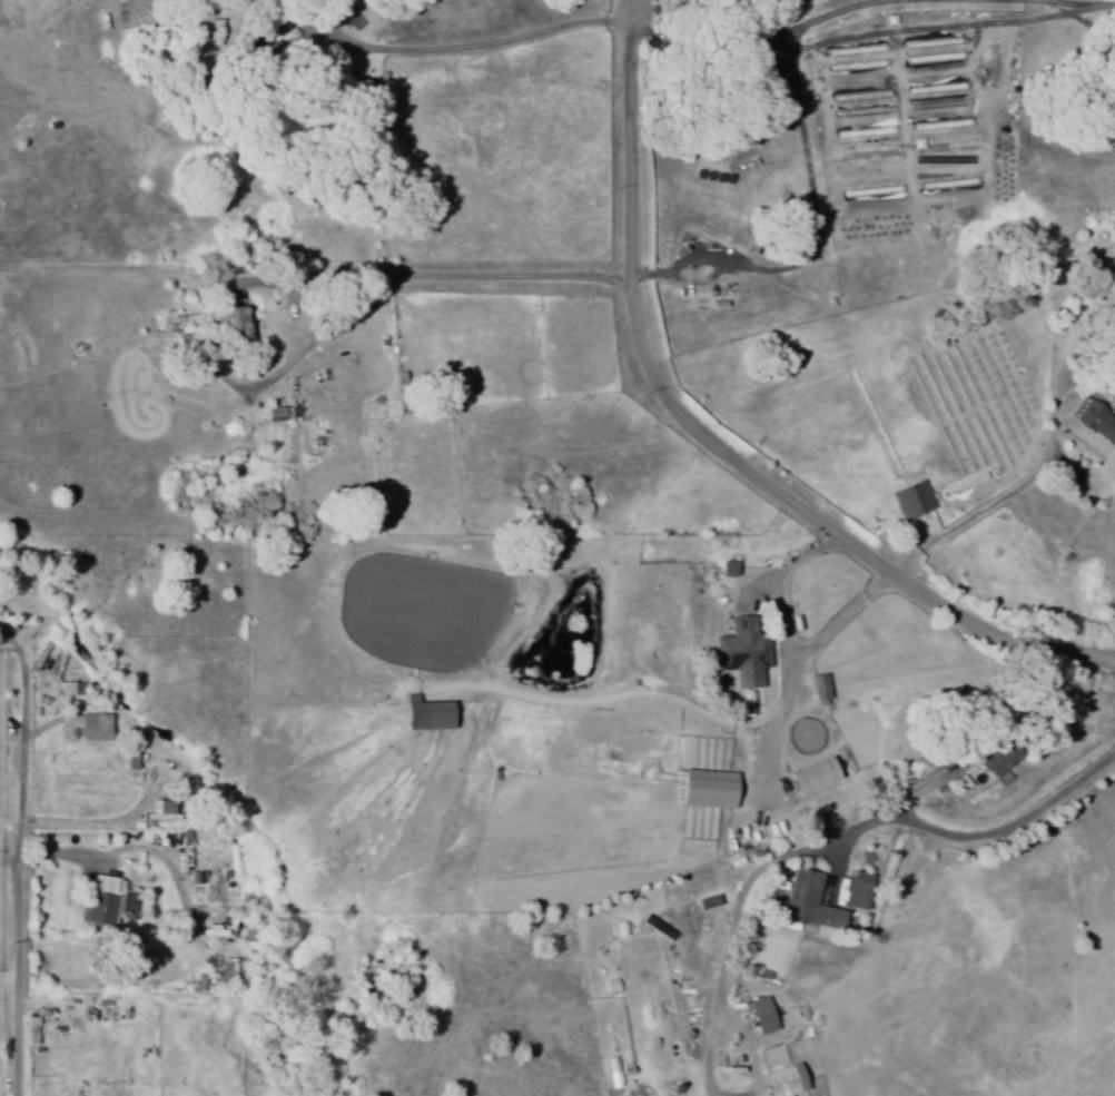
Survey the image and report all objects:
building: (229, 323)
building: (277, 414)
building: (1095, 421)
road: (716, 446)
building: (911, 500)
building: (727, 569)
building: (741, 652)
building: (71, 689)
building: (819, 689)
building: (424, 713)
building: (89, 727)
building: (997, 759)
building: (810, 776)
building: (702, 789)
building: (161, 811)
road: (22, 859)
building: (856, 890)
building: (106, 900)
building: (808, 902)
building: (761, 1015)
building: (30, 1030)
building: (781, 1075)

